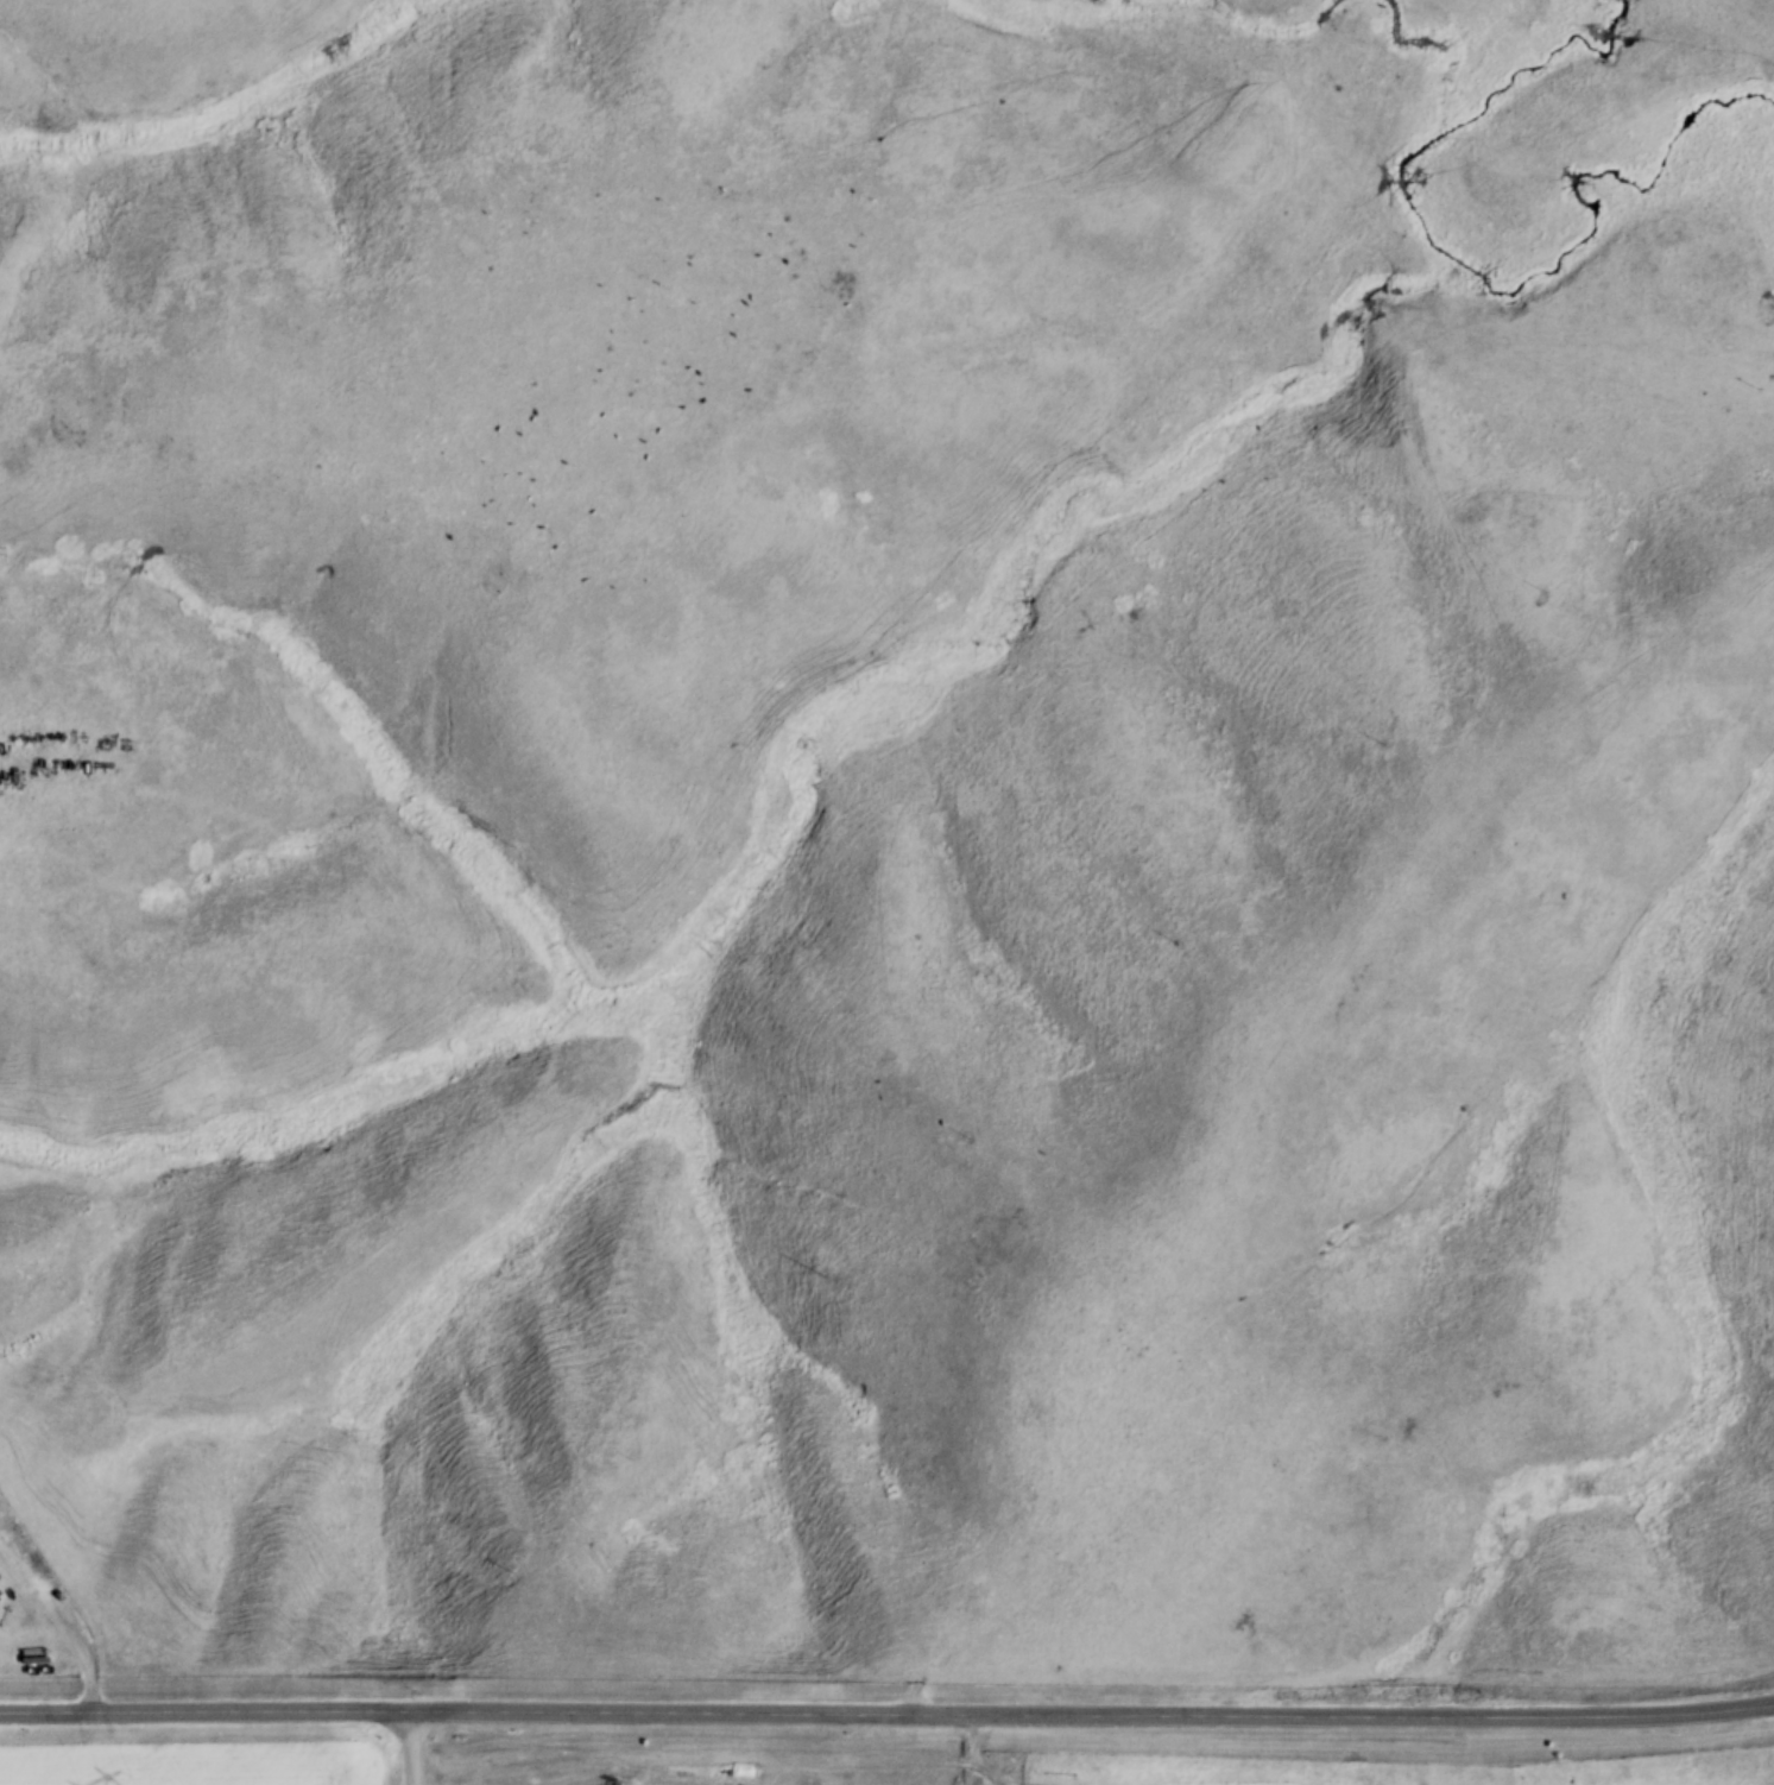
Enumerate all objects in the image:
road: (886, 1720)
road: (418, 1752)
building: (573, 1773)
building: (714, 1773)

